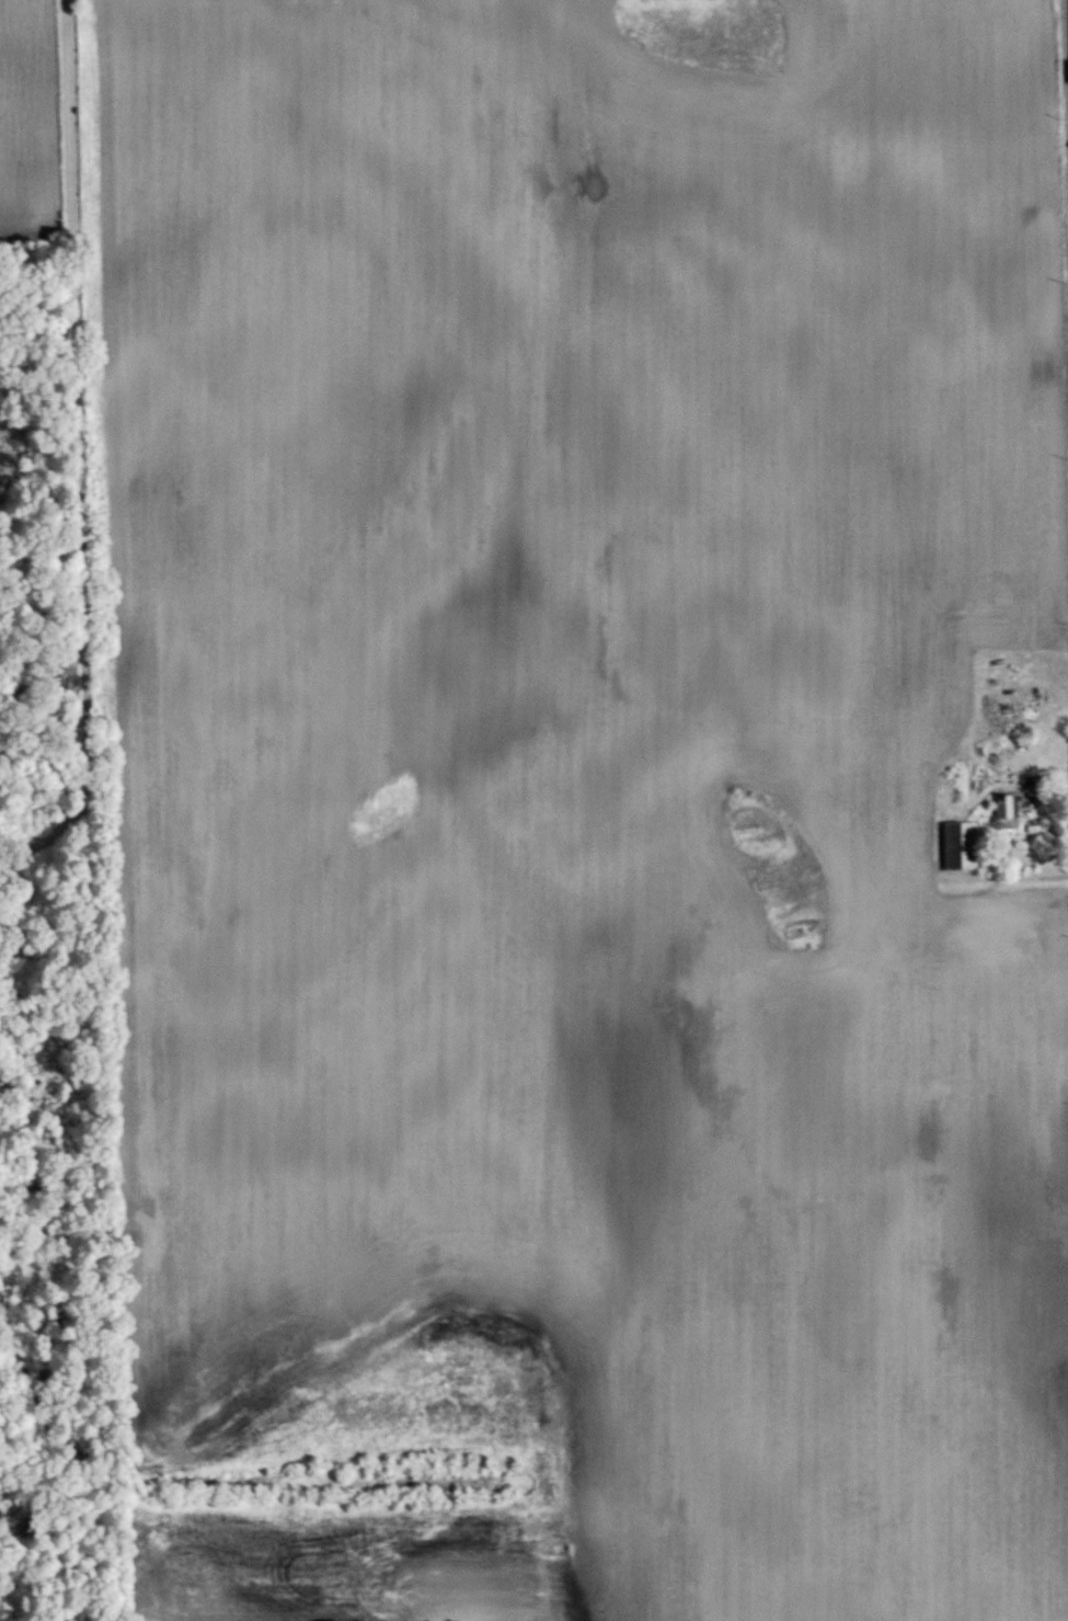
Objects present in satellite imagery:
building: (1007, 811)
building: (961, 846)

